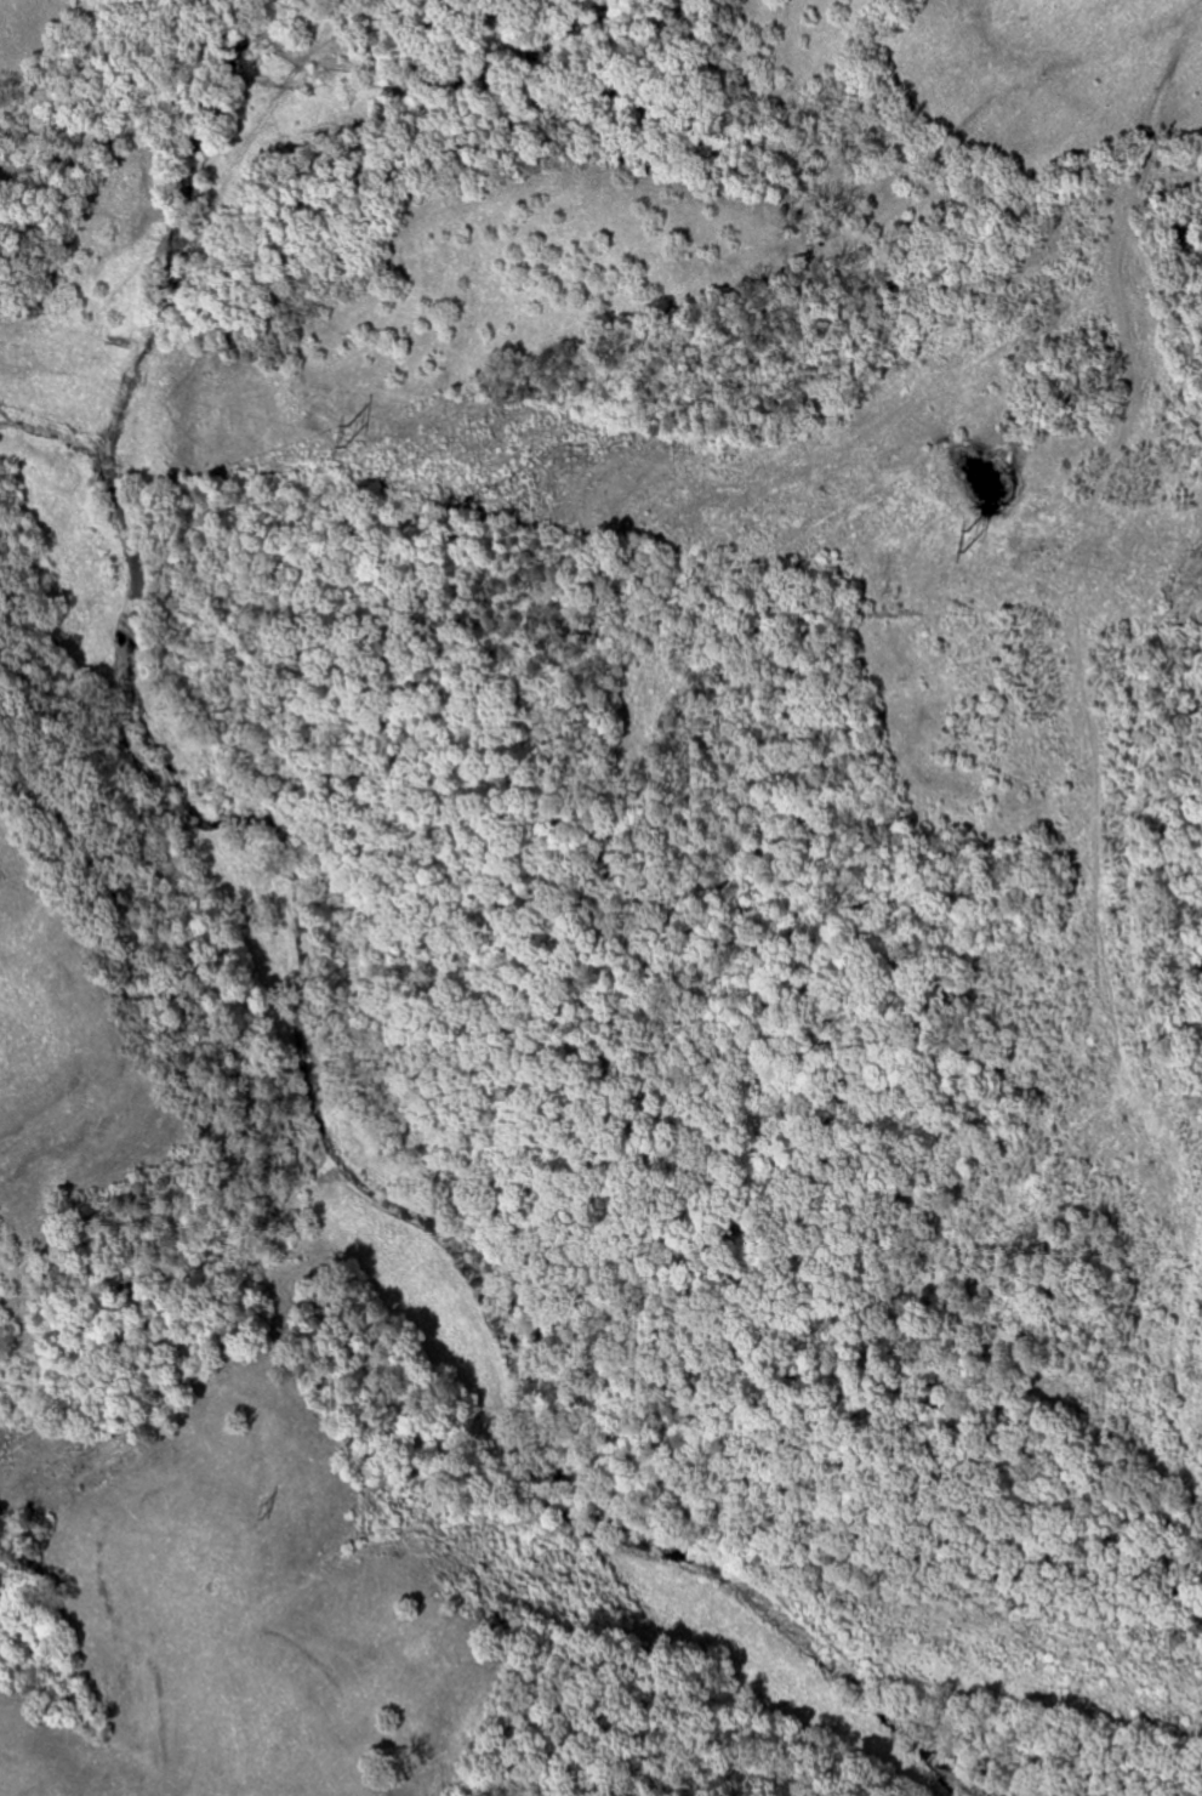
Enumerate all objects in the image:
power tower: (342, 428)
power tower: (962, 532)
road: (109, 756)
road: (486, 1290)
power tower: (262, 1505)

